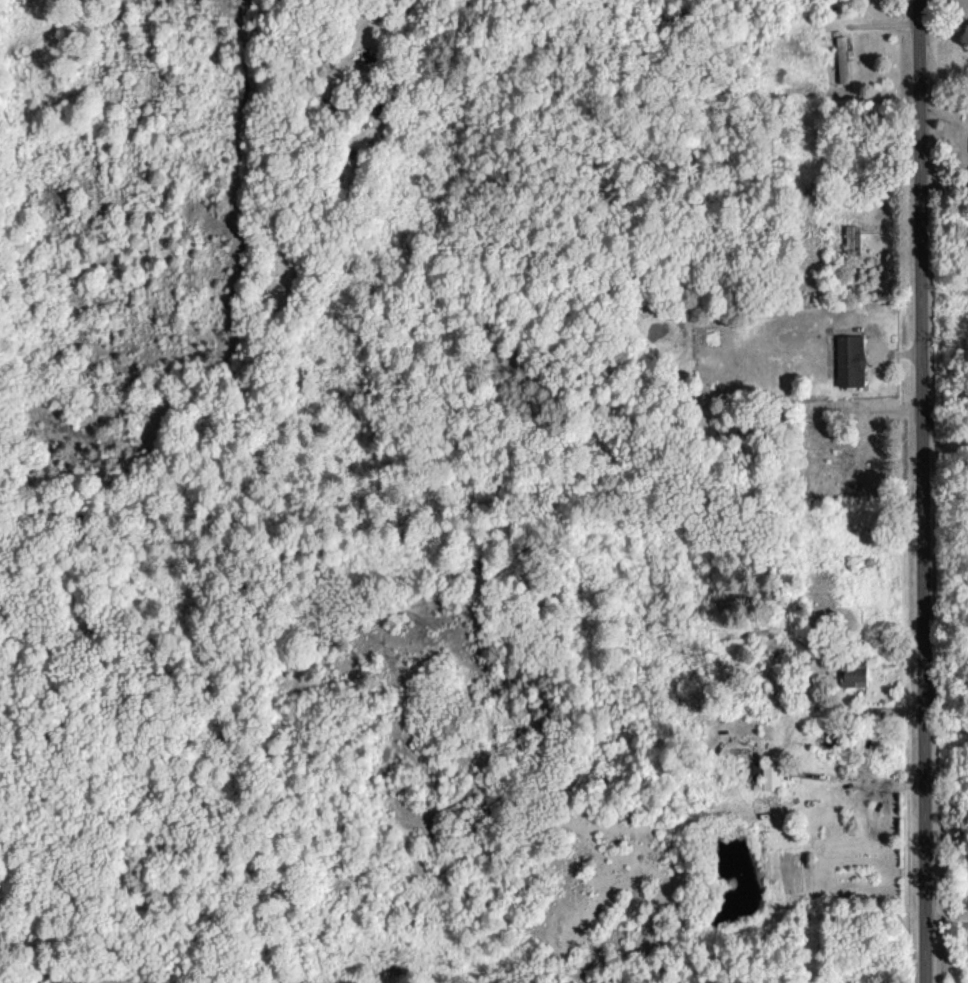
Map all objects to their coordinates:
building: (843, 59)
building: (852, 239)
building: (849, 360)
road: (921, 491)
building: (767, 777)
road: (862, 778)
road: (946, 923)

